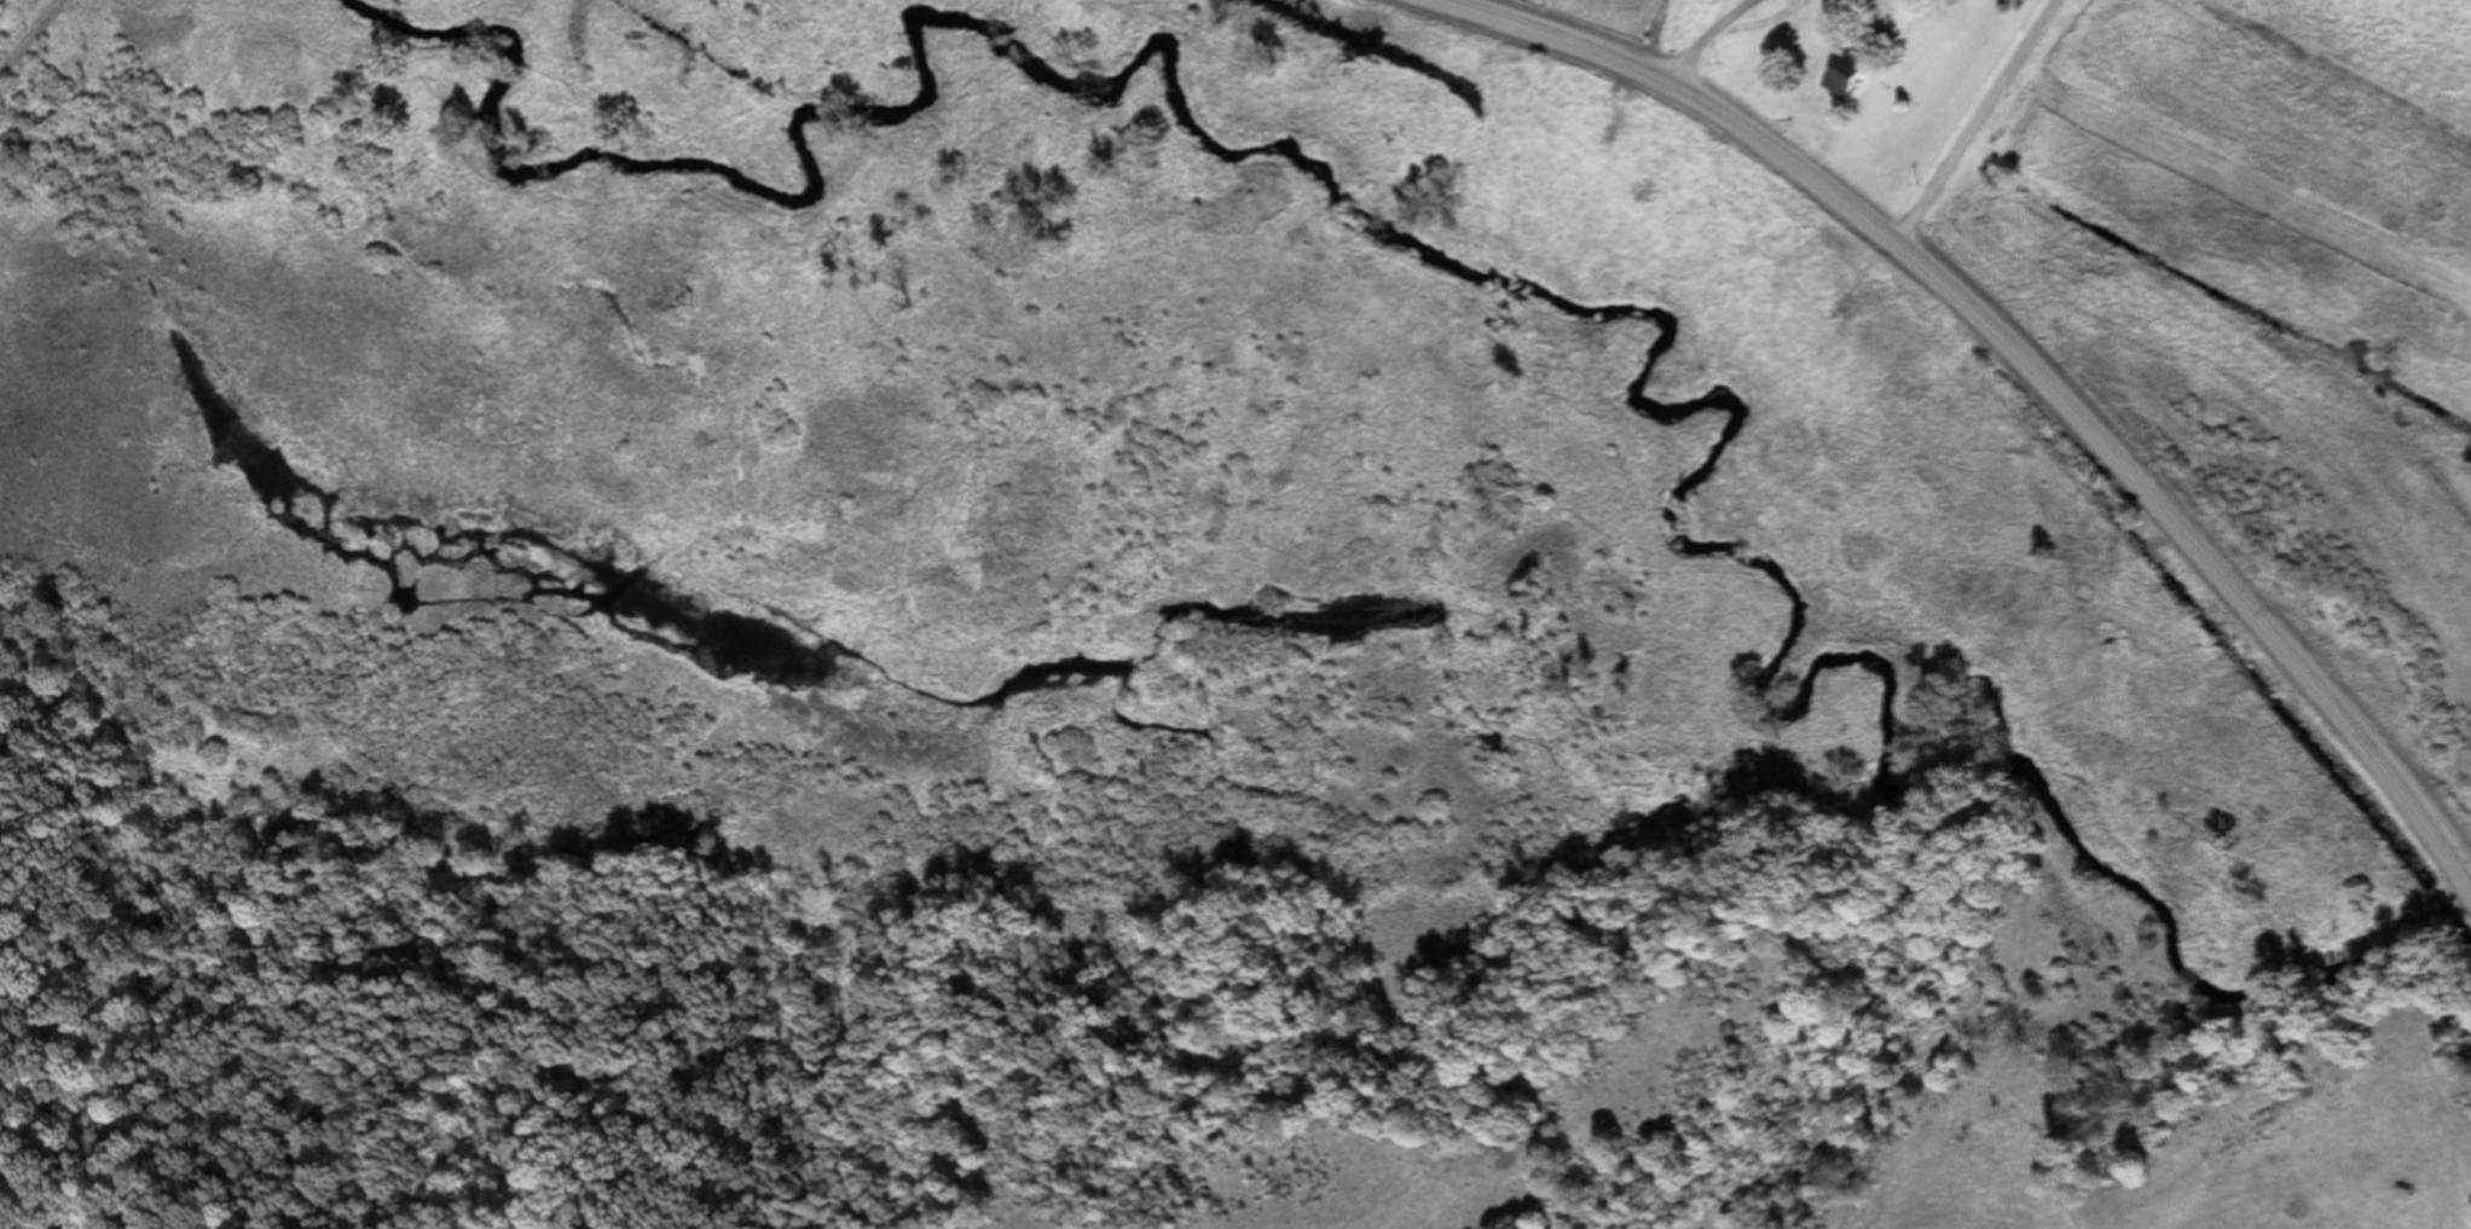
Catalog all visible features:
road: (1708, 36)
building: (1845, 73)
road: (1975, 117)
river: (1504, 249)
road: (2031, 361)
river: (2423, 953)

